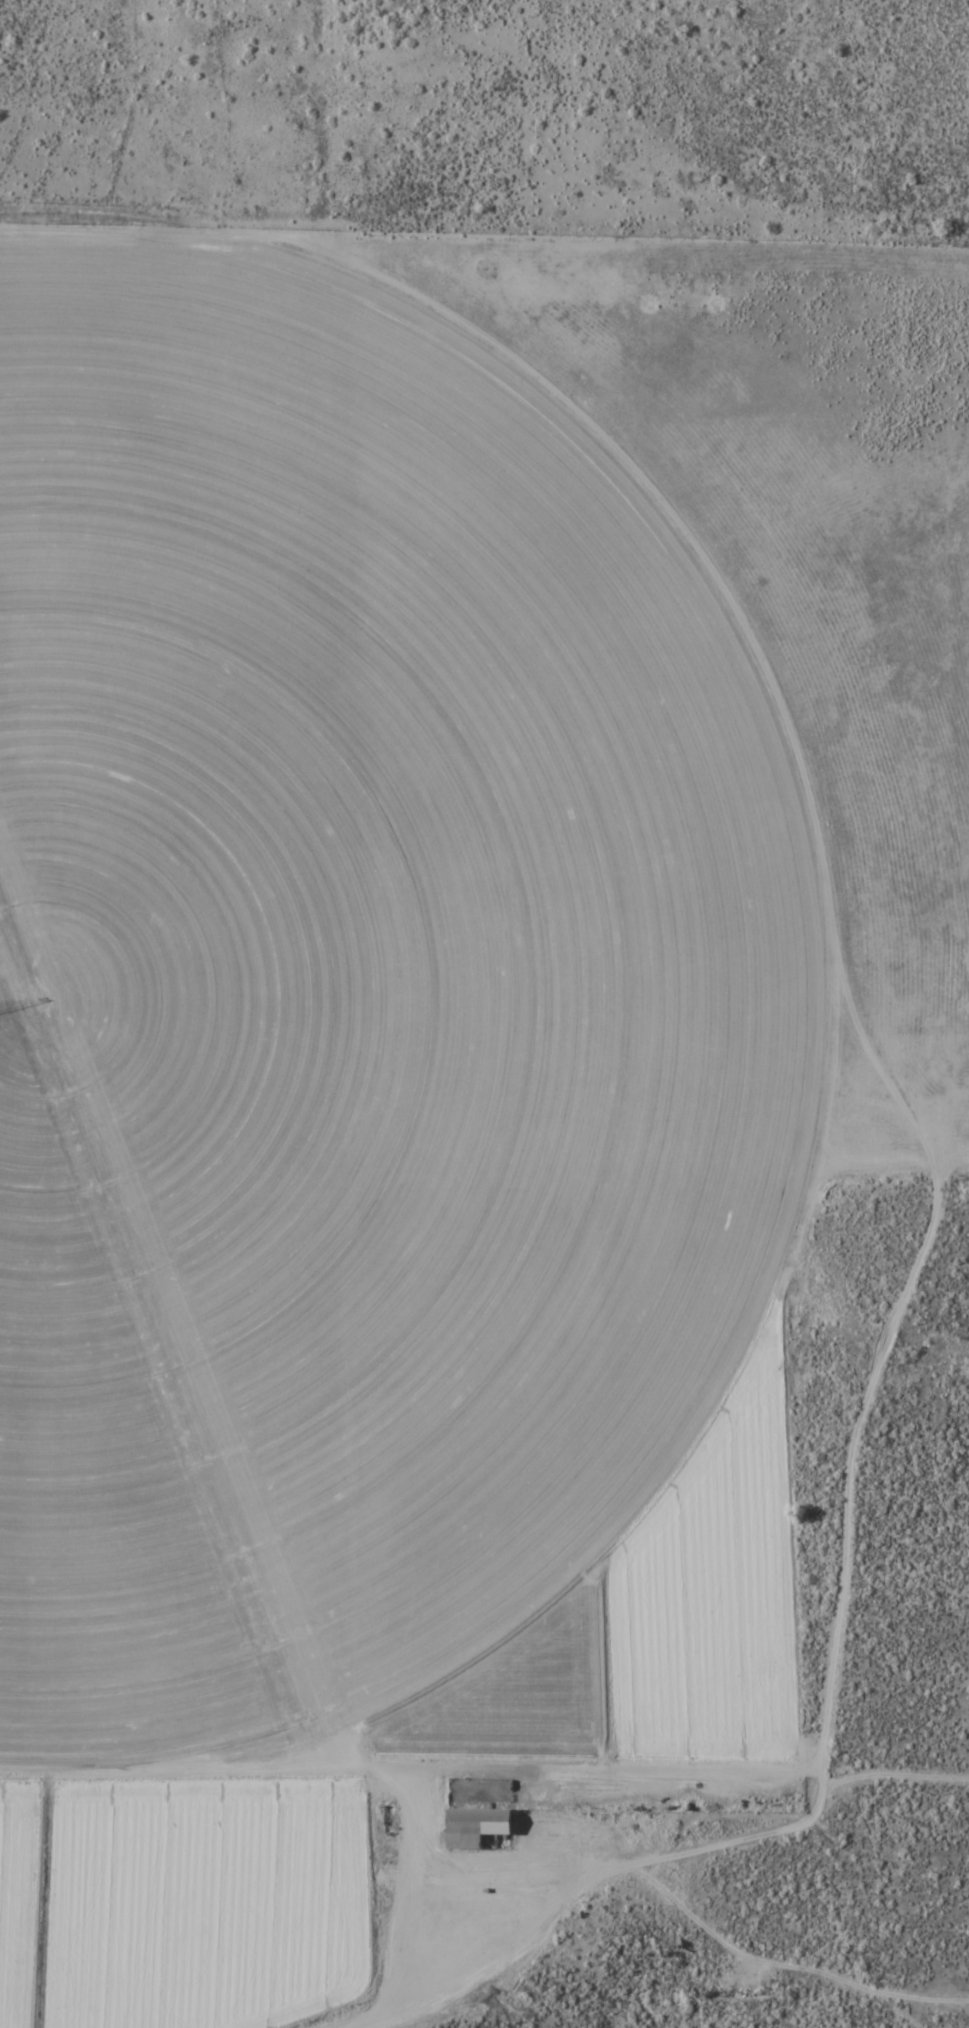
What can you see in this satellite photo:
building: (477, 1827)

